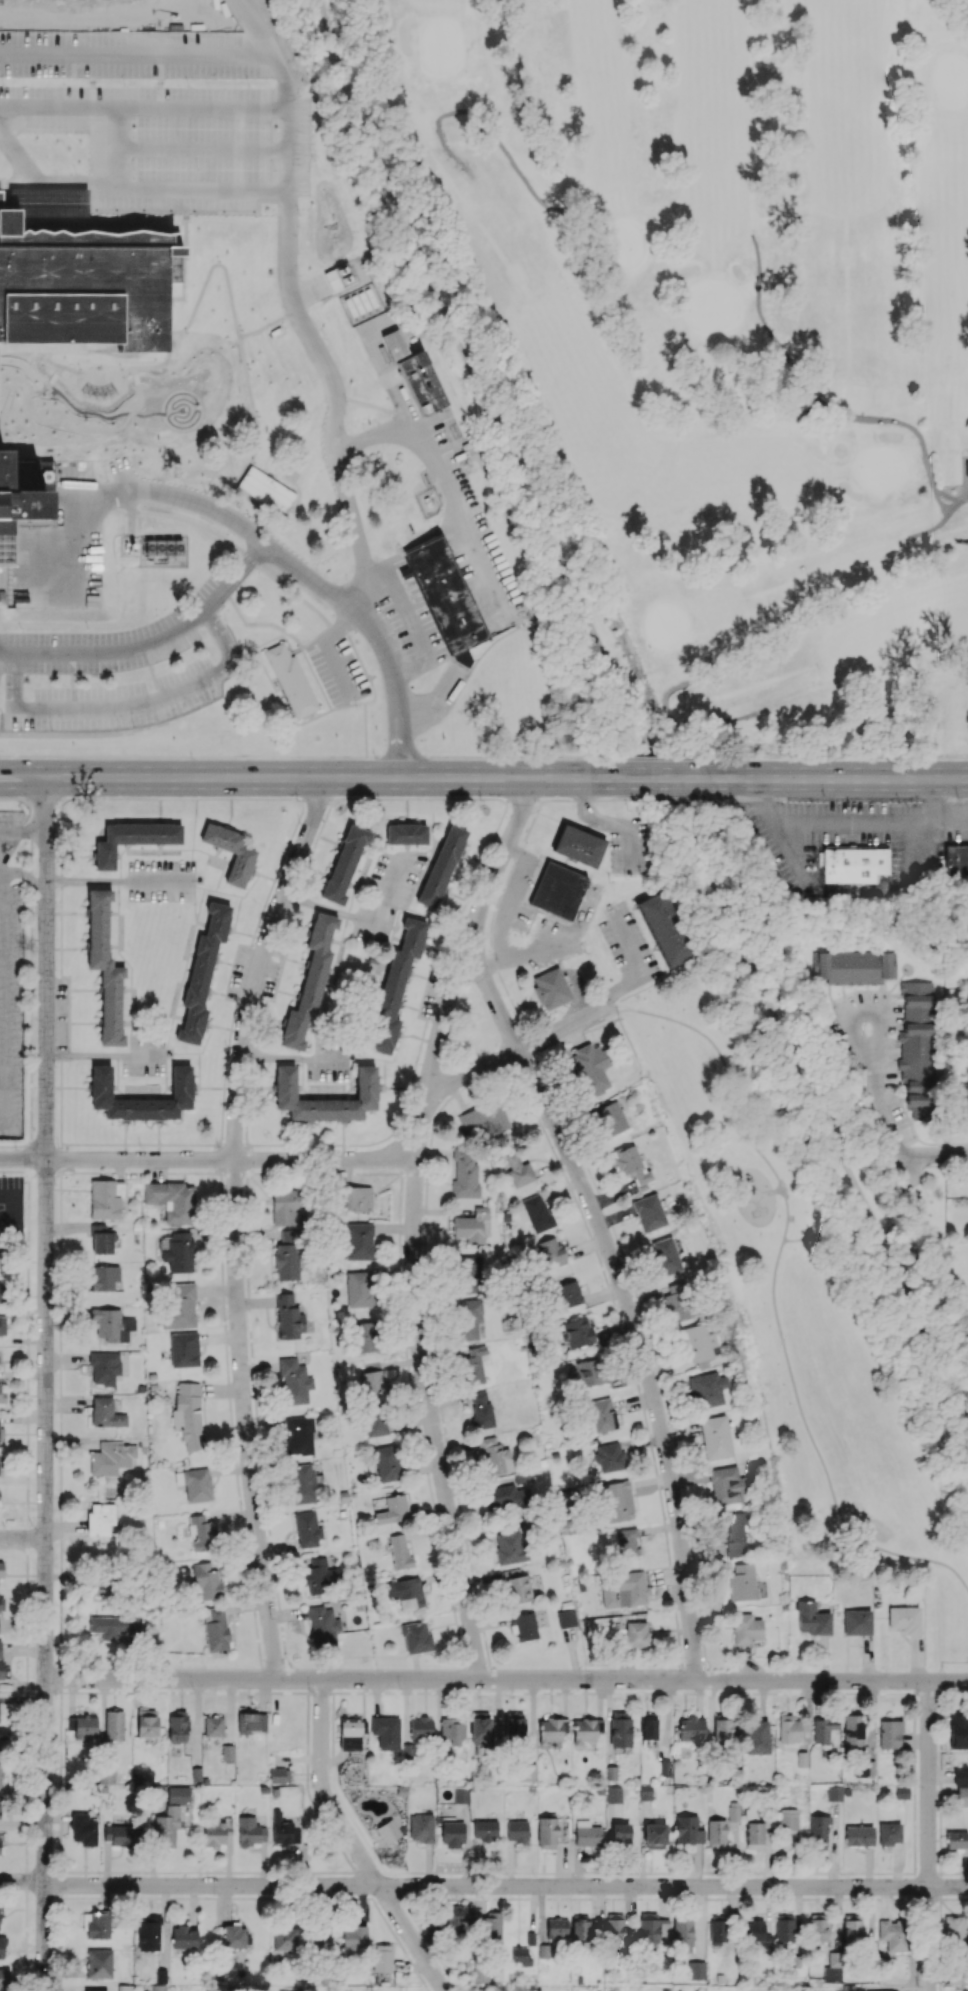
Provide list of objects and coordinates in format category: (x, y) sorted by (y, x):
road: (123, 11)
parking lot: (132, 40)
park: (440, 46)
road: (137, 55)
road: (1, 57)
road: (280, 67)
park: (952, 79)
road: (73, 80)
road: (161, 80)
street lamp: (80, 82)
street lamp: (168, 82)
street lamp: (257, 82)
road: (35, 106)
road: (179, 107)
road: (490, 132)
road: (167, 146)
road: (288, 166)
park: (624, 242)
park: (709, 304)
park: (723, 326)
road: (771, 336)
building: (397, 346)
road: (392, 374)
building: (425, 384)
building: (310, 409)
road: (912, 429)
road: (127, 463)
park: (879, 467)
building: (967, 468)
road: (121, 486)
building: (265, 489)
building: (22, 495)
road: (80, 495)
road: (143, 495)
road: (945, 496)
road: (346, 497)
road: (116, 501)
road: (131, 508)
road: (503, 509)
road: (457, 515)
road: (539, 516)
road: (941, 523)
road: (198, 526)
parking lot: (475, 543)
road: (79, 547)
building: (164, 548)
street lamp: (210, 568)
road: (299, 569)
street lamp: (399, 574)
street lamp: (345, 578)
road: (292, 592)
building: (448, 599)
road: (76, 602)
street lamp: (156, 614)
road: (266, 623)
road: (411, 623)
park: (669, 623)
street lamp: (19, 627)
street lamp: (86, 627)
parking lot: (414, 628)
road: (316, 636)
road: (294, 637)
parking lot: (112, 641)
road: (152, 643)
road: (329, 649)
street lamp: (367, 650)
road: (257, 652)
street lamp: (299, 652)
road: (360, 661)
parking lot: (337, 668)
road: (316, 677)
road: (15, 681)
building: (293, 683)
road: (353, 698)
road: (152, 699)
street lamp: (213, 699)
road: (348, 703)
road: (439, 704)
street lamp: (355, 707)
road: (674, 722)
road: (306, 723)
street lamp: (132, 727)
road: (365, 728)
street lamp: (50, 730)
road: (402, 747)
road: (182, 755)
road: (384, 755)
road: (496, 755)
road: (649, 756)
road: (839, 756)
street lamp: (191, 758)
street lamp: (373, 759)
street lamp: (537, 760)
street lamp: (724, 760)
road: (23, 770)
road: (318, 776)
road: (657, 777)
road: (845, 778)
road: (23, 782)
street lamp: (89, 795)
street lamp: (824, 798)
street lamp: (478, 799)
street lamp: (296, 800)
street lamp: (632, 800)
road: (950, 818)
road: (872, 819)
road: (22, 830)
building: (406, 834)
road: (46, 836)
building: (133, 838)
parking lot: (847, 843)
building: (578, 845)
building: (230, 852)
building: (956, 860)
building: (344, 863)
building: (852, 864)
building: (441, 866)
road: (1, 869)
road: (28, 874)
parking lot: (160, 878)
road: (120, 879)
building: (558, 890)
road: (829, 891)
parking lot: (387, 893)
road: (385, 895)
road: (329, 907)
building: (664, 929)
road: (461, 961)
road: (259, 963)
building: (104, 966)
building: (855, 967)
building: (202, 970)
parking lot: (240, 971)
building: (10, 982)
parking lot: (10, 982)
building: (309, 983)
building: (395, 987)
building: (550, 988)
road: (2, 994)
road: (493, 996)
parking lot: (61, 1017)
road: (46, 1026)
road: (538, 1039)
road: (877, 1045)
building: (916, 1046)
road: (103, 1055)
parking lot: (144, 1056)
road: (291, 1056)
parking lot: (328, 1058)
building: (591, 1068)
building: (181, 1082)
building: (366, 1083)
building: (610, 1117)
building: (483, 1120)
road: (946, 1152)
road: (207, 1158)
building: (631, 1163)
building: (518, 1169)
building: (465, 1173)
road: (890, 1187)
building: (355, 1198)
building: (105, 1199)
building: (172, 1200)
building: (285, 1206)
building: (537, 1212)
building: (649, 1212)
road: (874, 1223)
building: (471, 1225)
building: (289, 1235)
building: (102, 1240)
building: (357, 1240)
road: (795, 1240)
road: (781, 1249)
building: (551, 1251)
building: (179, 1252)
building: (665, 1256)
building: (0, 1257)
building: (287, 1261)
building: (468, 1274)
park: (819, 1276)
building: (104, 1277)
building: (359, 1289)
building: (1, 1293)
building: (569, 1293)
building: (677, 1301)
building: (179, 1305)
building: (288, 1317)
building: (468, 1318)
building: (112, 1324)
building: (2, 1325)
building: (577, 1332)
building: (365, 1336)
building: (698, 1342)
building: (184, 1349)
road: (642, 1354)
building: (474, 1364)
building: (104, 1367)
building: (590, 1372)
building: (294, 1381)
building: (371, 1381)
building: (708, 1389)
building: (1, 1392)
building: (481, 1410)
building: (106, 1413)
building: (188, 1413)
building: (602, 1414)
road: (431, 1417)
road: (245, 1419)
building: (375, 1419)
building: (1, 1433)
building: (299, 1435)
building: (715, 1437)
building: (495, 1455)
building: (111, 1457)
building: (610, 1457)
building: (387, 1462)
building: (302, 1483)
building: (195, 1484)
building: (726, 1485)
building: (506, 1497)
building: (618, 1501)
building: (392, 1510)
building: (100, 1518)
building: (307, 1529)
building: (202, 1532)
building: (732, 1533)
road: (23, 1537)
building: (627, 1542)
building: (399, 1551)
building: (1, 1568)
road: (46, 1574)
building: (317, 1575)
building: (206, 1581)
building: (742, 1583)
building: (519, 1589)
building: (624, 1590)
building: (409, 1593)
building: (1, 1603)
building: (565, 1618)
building: (813, 1619)
building: (905, 1619)
building: (857, 1622)
building: (113, 1625)
building: (322, 1626)
building: (523, 1626)
building: (746, 1628)
building: (216, 1630)
building: (636, 1633)
building: (416, 1637)
building: (0, 1649)
road: (945, 1662)
building: (1, 1669)
road: (507, 1679)
building: (250, 1721)
building: (147, 1723)
building: (514, 1724)
building: (114, 1725)
building: (83, 1726)
building: (648, 1726)
building: (177, 1727)
building: (421, 1727)
building: (620, 1728)
building: (691, 1728)
building: (722, 1728)
building: (552, 1729)
building: (586, 1729)
building: (788, 1729)
building: (823, 1729)
building: (214, 1730)
building: (452, 1730)
building: (479, 1730)
building: (958, 1731)
building: (349, 1732)
building: (386, 1732)
building: (852, 1732)
building: (4, 1733)
building: (889, 1734)
building: (757, 1737)
building: (227, 1752)
building: (864, 1769)
building: (526, 1772)
building: (0, 1775)
building: (107, 1775)
building: (279, 1775)
building: (960, 1776)
building: (645, 1792)
building: (834, 1793)
building: (178, 1794)
building: (613, 1794)
building: (460, 1795)
building: (962, 1796)
building: (788, 1819)
building: (166, 1827)
building: (421, 1828)
building: (83, 1829)
building: (485, 1829)
building: (283, 1830)
building: (517, 1830)
building: (688, 1830)
building: (250, 1831)
building: (546, 1832)
building: (818, 1832)
building: (217, 1833)
building: (716, 1833)
building: (889, 1833)
building: (121, 1834)
building: (452, 1834)
building: (587, 1834)
building: (620, 1834)
building: (655, 1835)
building: (754, 1835)
building: (858, 1835)
road: (928, 1835)
building: (957, 1840)
road: (354, 1843)
road: (483, 1886)
building: (456, 1917)
building: (96, 1925)
building: (0, 1926)
building: (556, 1927)
building: (491, 1928)
building: (580, 1928)
building: (651, 1928)
building: (784, 1928)
building: (817, 1928)
building: (852, 1928)
building: (718, 1929)
building: (614, 1930)
building: (954, 1930)
building: (149, 1933)
building: (756, 1933)
building: (682, 1935)
building: (893, 1935)
building: (234, 1936)
building: (184, 1937)
building: (318, 1937)
building: (285, 1938)
building: (353, 1939)
building: (2, 1947)
building: (521, 1955)
building: (382, 1958)
building: (99, 1963)
building: (832, 1965)
building: (695, 1970)
building: (481, 1974)
building: (4, 1977)
building: (957, 1978)
building: (159, 1987)
building: (94, 1990)
building: (286, 1990)
building: (871, 1990)

